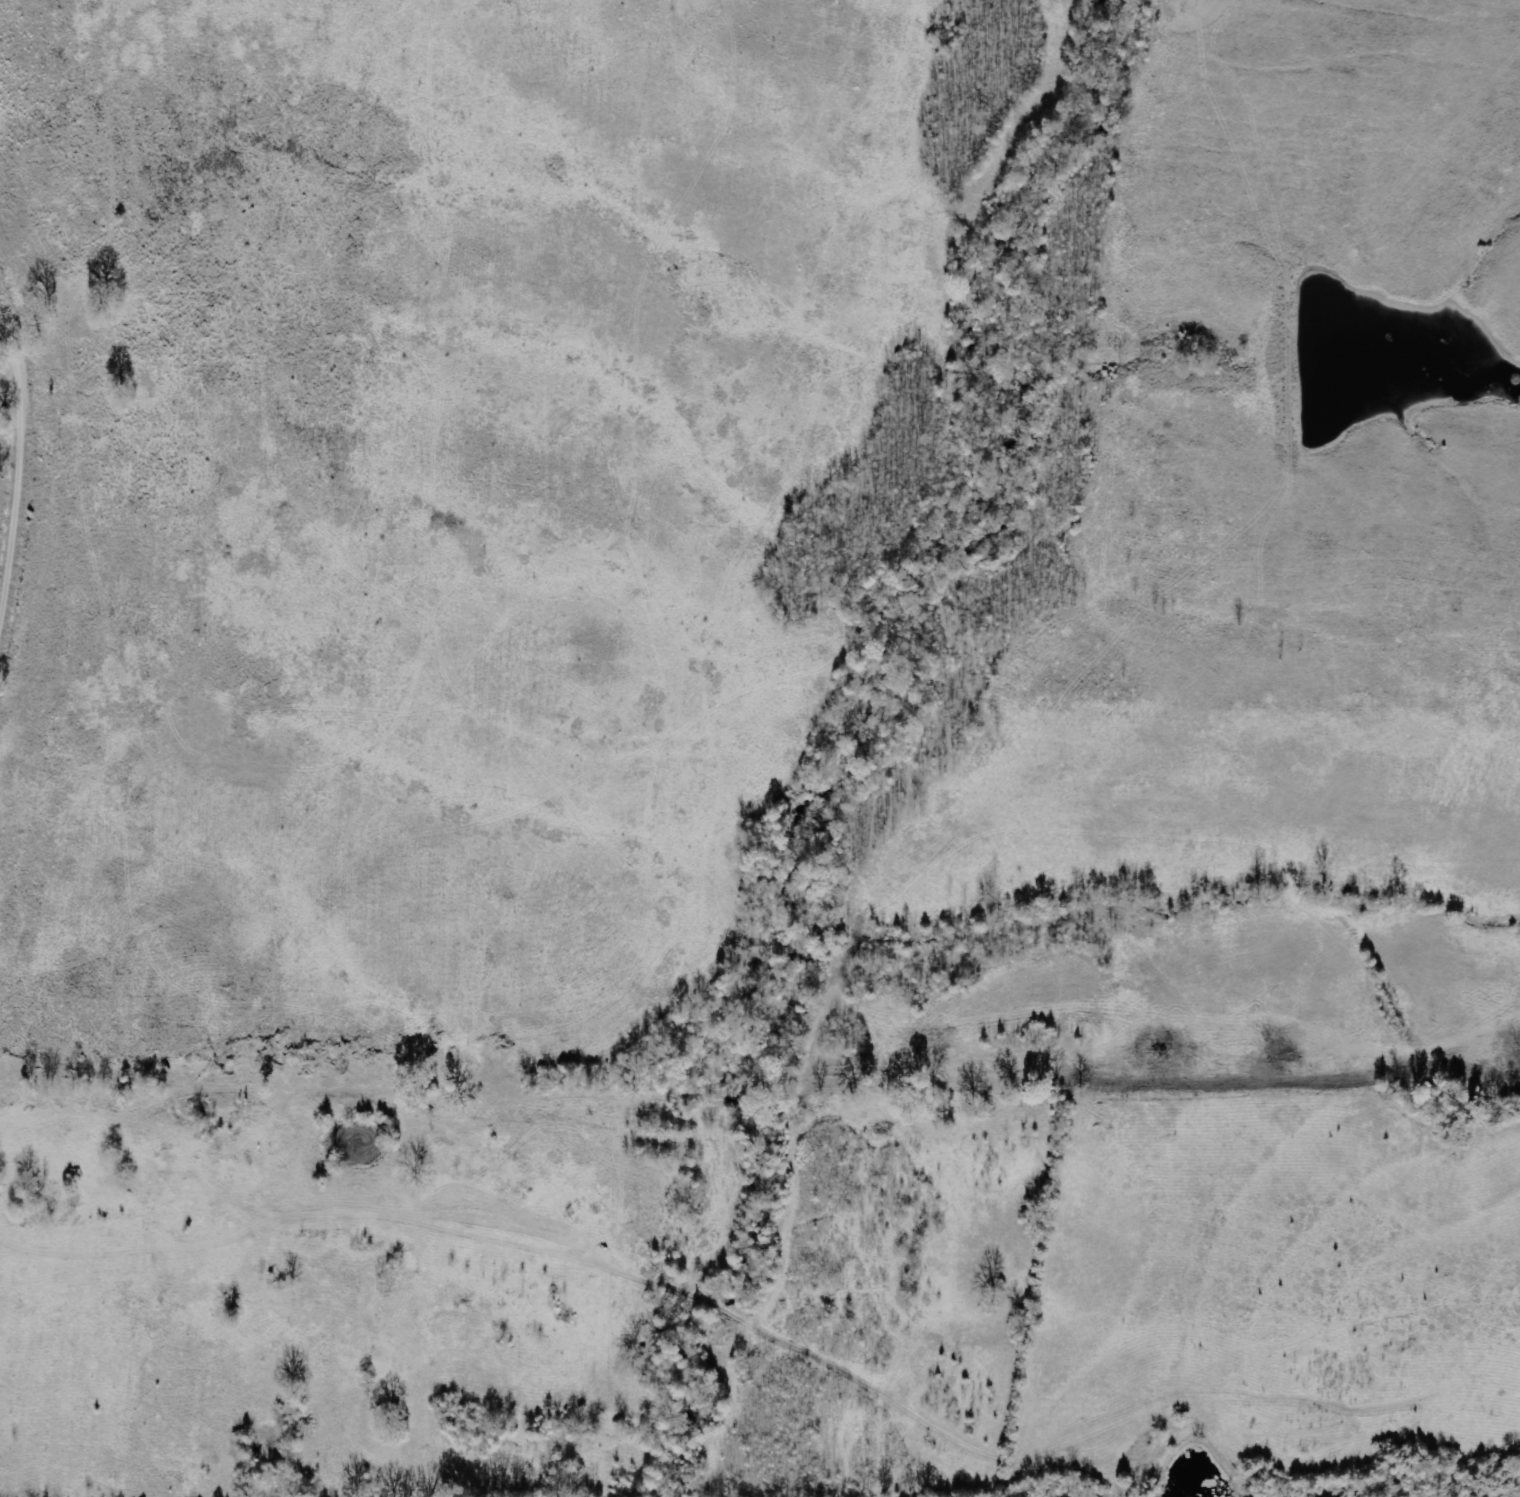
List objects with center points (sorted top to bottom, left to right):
road: (12, 357)
road: (25, 472)

